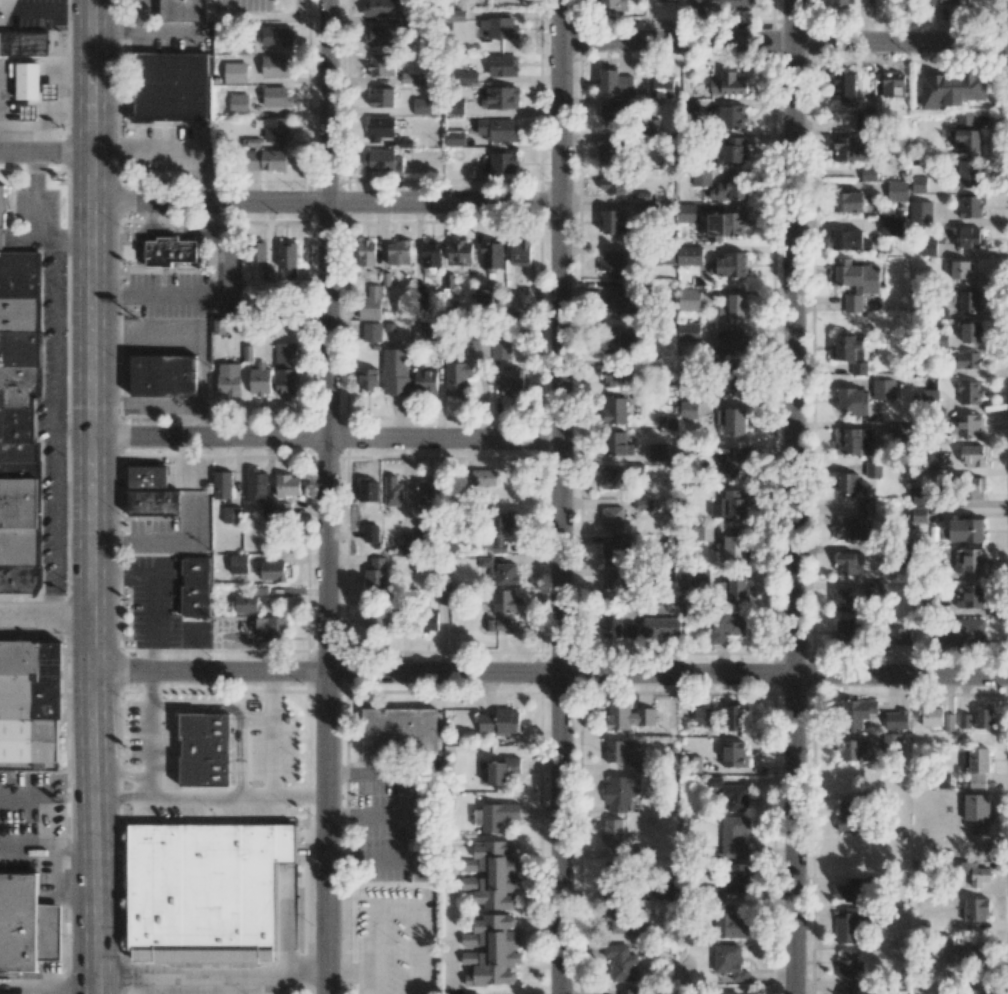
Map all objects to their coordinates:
building: (662, 0)
building: (840, 2)
building: (943, 2)
parking lot: (243, 5)
building: (613, 5)
building: (720, 5)
building: (380, 8)
building: (183, 11)
building: (453, 16)
road: (137, 17)
building: (405, 17)
building: (498, 28)
road: (151, 34)
building: (274, 36)
building: (378, 36)
road: (784, 41)
building: (24, 45)
building: (275, 66)
building: (382, 66)
building: (503, 66)
building: (235, 72)
building: (468, 77)
building: (409, 78)
building: (28, 81)
building: (615, 82)
building: (727, 84)
building: (893, 84)
building: (171, 86)
building: (844, 86)
building: (663, 88)
building: (951, 90)
building: (276, 97)
building: (382, 97)
building: (501, 98)
building: (239, 103)
building: (876, 105)
building: (422, 106)
building: (456, 106)
building: (691, 108)
building: (28, 112)
building: (614, 113)
building: (731, 116)
building: (863, 121)
building: (380, 128)
building: (275, 129)
building: (497, 129)
building: (965, 134)
building: (455, 138)
road: (175, 146)
building: (851, 149)
building: (735, 150)
building: (609, 152)
road: (47, 155)
building: (266, 160)
building: (378, 160)
building: (499, 163)
building: (868, 173)
building: (967, 173)
building: (701, 177)
building: (612, 184)
building: (918, 184)
building: (732, 188)
building: (897, 191)
road: (327, 202)
building: (848, 202)
building: (4, 206)
building: (970, 206)
building: (644, 208)
building: (920, 211)
building: (686, 213)
building: (611, 221)
building: (724, 225)
road: (37, 226)
building: (892, 226)
building: (967, 237)
building: (849, 240)
road: (2, 241)
road: (21, 241)
building: (927, 247)
building: (257, 251)
building: (170, 252)
building: (460, 252)
building: (520, 252)
building: (366, 253)
building: (399, 253)
building: (431, 255)
building: (492, 255)
building: (689, 255)
building: (287, 261)
building: (612, 262)
building: (729, 265)
building: (962, 272)
building: (854, 280)
building: (421, 299)
building: (621, 299)
building: (689, 299)
building: (482, 300)
building: (969, 301)
building: (371, 304)
building: (733, 307)
building: (218, 326)
building: (432, 330)
building: (371, 332)
building: (688, 332)
building: (971, 332)
building: (615, 341)
building: (733, 341)
building: (480, 349)
building: (501, 350)
building: (850, 352)
building: (247, 353)
building: (284, 353)
building: (967, 360)
building: (396, 371)
building: (617, 376)
building: (163, 377)
building: (457, 377)
building: (367, 378)
building: (228, 379)
building: (259, 379)
building: (285, 381)
building: (425, 381)
building: (511, 382)
building: (736, 382)
building: (884, 389)
building: (969, 392)
building: (929, 397)
building: (853, 401)
building: (614, 409)
building: (688, 409)
building: (20, 420)
building: (732, 420)
building: (965, 426)
road: (57, 430)
building: (898, 431)
road: (327, 438)
building: (854, 441)
building: (617, 444)
building: (659, 452)
building: (972, 455)
building: (929, 462)
building: (735, 464)
building: (873, 469)
building: (484, 477)
building: (613, 479)
building: (850, 484)
building: (222, 485)
building: (256, 485)
building: (288, 485)
building: (975, 489)
building: (368, 490)
building: (429, 490)
building: (393, 491)
building: (149, 493)
road: (324, 496)
road: (795, 496)
road: (94, 497)
road: (559, 497)
building: (729, 504)
building: (282, 509)
building: (866, 510)
building: (231, 514)
building: (919, 514)
building: (612, 518)
building: (500, 529)
building: (852, 529)
building: (965, 530)
building: (703, 532)
building: (733, 550)
building: (617, 552)
building: (970, 560)
building: (485, 561)
building: (238, 563)
building: (846, 563)
building: (273, 571)
building: (506, 573)
building: (376, 574)
building: (197, 587)
building: (735, 587)
building: (617, 588)
building: (972, 595)
building: (844, 599)
building: (246, 604)
building: (501, 609)
road: (46, 619)
building: (429, 619)
building: (375, 620)
building: (725, 625)
building: (610, 626)
building: (661, 627)
building: (271, 628)
building: (844, 633)
building: (963, 634)
building: (897, 636)
road: (551, 673)
road: (241, 706)
building: (23, 711)
building: (856, 712)
building: (627, 716)
building: (702, 716)
building: (930, 716)
building: (733, 718)
building: (983, 718)
building: (895, 720)
building: (965, 720)
building: (949, 721)
road: (256, 722)
building: (499, 722)
building: (401, 732)
road: (150, 736)
building: (618, 749)
building: (851, 750)
building: (734, 754)
building: (201, 755)
road: (271, 760)
building: (634, 766)
building: (976, 766)
building: (502, 770)
road: (123, 773)
building: (714, 781)
building: (619, 793)
road: (211, 797)
building: (735, 798)
road: (123, 799)
building: (977, 812)
road: (381, 814)
road: (438, 816)
building: (497, 816)
building: (845, 816)
parking lot: (400, 822)
building: (612, 833)
building: (733, 836)
building: (973, 874)
building: (492, 875)
building: (737, 877)
building: (207, 883)
building: (661, 890)
building: (849, 892)
building: (975, 909)
road: (394, 910)
building: (626, 920)
building: (732, 925)
building: (847, 926)
building: (28, 927)
parking lot: (396, 940)
building: (942, 945)
building: (492, 951)
building: (967, 959)
building: (729, 961)
building: (620, 962)
building: (849, 968)
road: (350, 976)
road: (47, 985)
road: (146, 986)
road: (209, 988)
road: (42, 989)
road: (273, 989)
road: (192, 991)
road: (232, 991)
building: (626, 991)
building: (974, 991)
building: (729, 992)
building: (846, 993)

